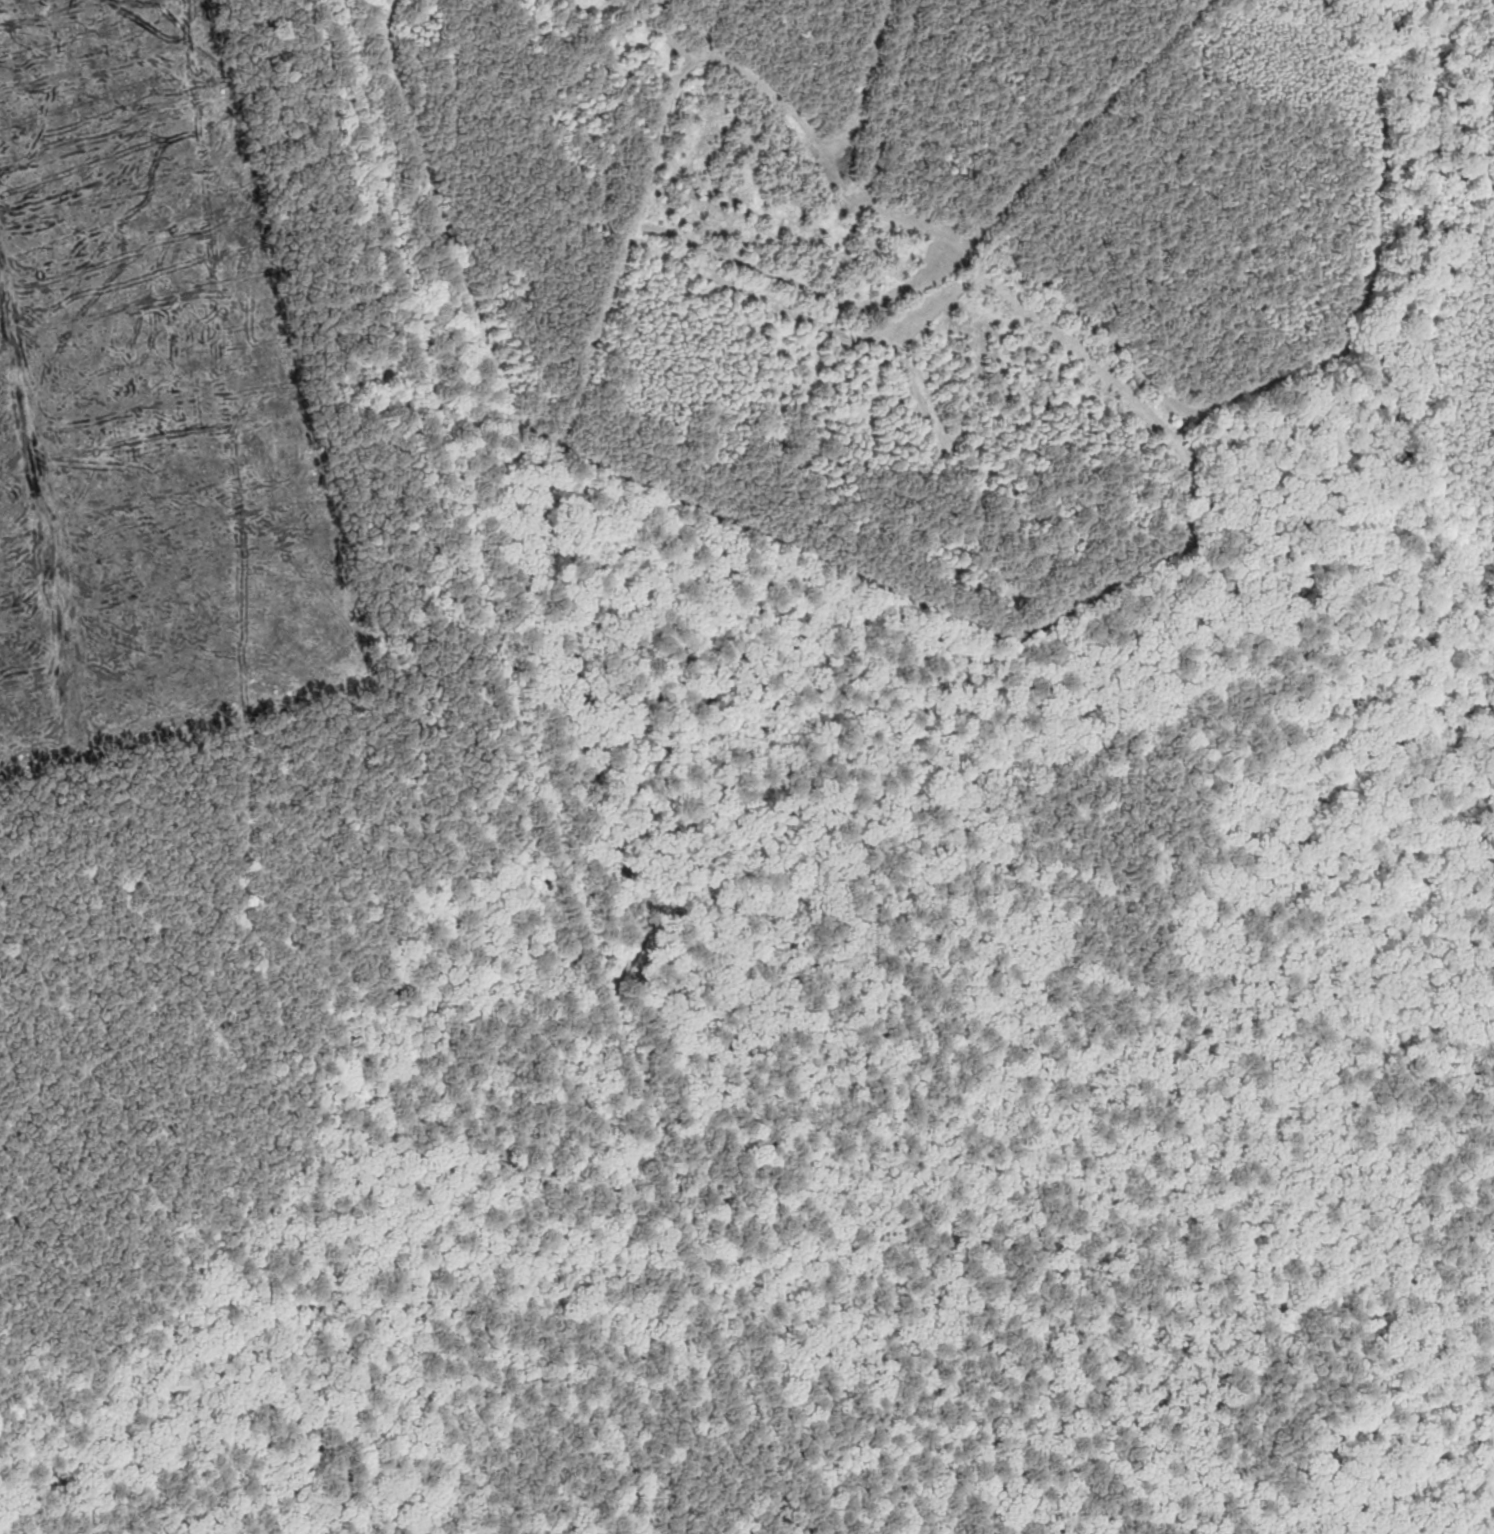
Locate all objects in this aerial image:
park: (914, 363)
road: (567, 771)
road: (678, 1038)
park: (924, 1160)

